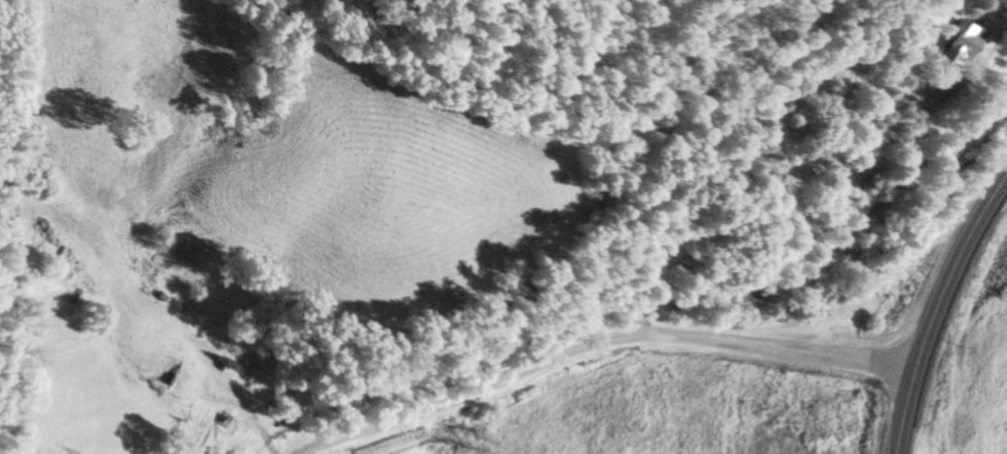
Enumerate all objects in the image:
building: (953, 46)
road: (825, 251)
road: (935, 308)
road: (595, 333)
building: (190, 360)

